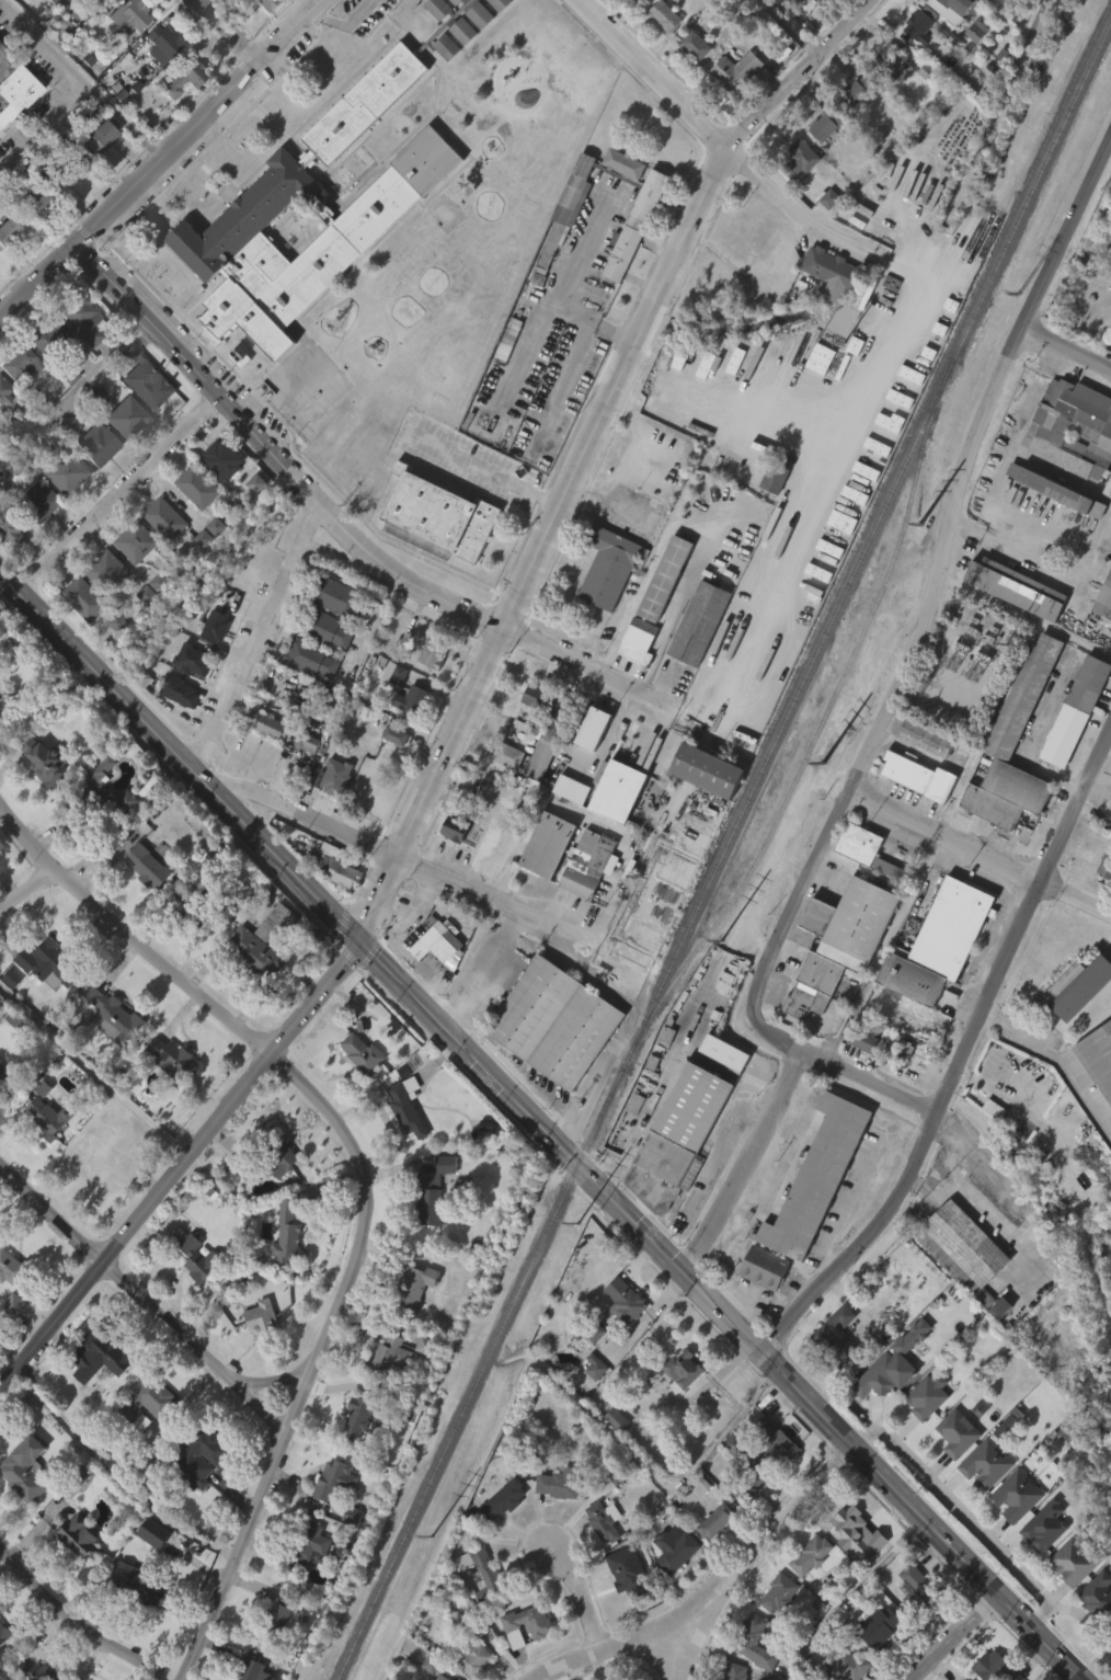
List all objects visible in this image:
building: (112, 0)
building: (642, 0)
building: (312, 1)
building: (787, 2)
building: (824, 2)
building: (78, 3)
building: (605, 3)
building: (270, 4)
building: (501, 4)
building: (962, 5)
building: (237, 7)
building: (127, 15)
building: (665, 16)
road: (347, 22)
building: (632, 22)
building: (99, 24)
building: (706, 24)
building: (813, 25)
building: (921, 27)
road: (791, 28)
road: (230, 32)
building: (262, 32)
building: (494, 36)
building: (946, 38)
building: (160, 45)
building: (696, 46)
building: (124, 54)
building: (476, 54)
building: (660, 54)
building: (893, 62)
building: (916, 67)
building: (459, 69)
building: (972, 69)
building: (736, 73)
building: (183, 76)
building: (156, 82)
building: (442, 84)
building: (690, 84)
building: (14, 85)
road: (72, 85)
building: (857, 92)
building: (891, 103)
building: (732, 110)
building: (920, 110)
building: (179, 117)
road: (119, 118)
road: (199, 123)
building: (11, 125)
building: (825, 126)
building: (848, 130)
building: (93, 137)
building: (358, 144)
road: (731, 152)
building: (800, 162)
building: (67, 164)
building: (820, 164)
building: (94, 175)
building: (322, 196)
building: (793, 197)
building: (71, 199)
building: (25, 201)
building: (619, 202)
building: (570, 203)
building: (54, 217)
building: (8, 230)
building: (30, 237)
building: (824, 238)
building: (562, 247)
building: (916, 247)
building: (631, 263)
building: (4, 266)
building: (834, 273)
road: (756, 274)
building: (1110, 277)
road: (36, 279)
road: (559, 288)
building: (224, 289)
power tower: (1020, 292)
building: (827, 311)
building: (81, 318)
building: (45, 335)
road: (1067, 346)
building: (76, 357)
building: (19, 361)
building: (41, 373)
road: (563, 375)
building: (146, 378)
building: (236, 393)
building: (815, 397)
building: (9, 403)
building: (65, 415)
building: (125, 416)
road: (1036, 419)
building: (3, 437)
building: (95, 444)
road: (637, 445)
building: (119, 454)
building: (221, 460)
building: (68, 473)
building: (776, 477)
building: (91, 482)
building: (196, 487)
building: (1063, 492)
road: (119, 495)
road: (610, 495)
building: (217, 499)
building: (38, 500)
building: (64, 512)
road: (805, 512)
building: (446, 515)
building: (769, 516)
building: (164, 519)
building: (251, 522)
road: (337, 523)
building: (11, 525)
building: (193, 525)
building: (1055, 530)
road: (690, 532)
road: (1096, 532)
building: (36, 536)
building: (1110, 536)
building: (136, 541)
building: (845, 545)
building: (435, 551)
building: (160, 557)
building: (213, 564)
building: (9, 565)
building: (608, 567)
building: (105, 570)
building: (199, 578)
building: (666, 579)
building: (131, 580)
building: (339, 597)
building: (84, 599)
building: (1104, 599)
building: (603, 605)
building: (102, 608)
road: (930, 612)
building: (660, 616)
building: (700, 624)
building: (149, 626)
building: (1011, 626)
building: (215, 627)
building: (324, 628)
building: (1103, 635)
building: (80, 637)
road: (259, 639)
building: (639, 641)
building: (434, 652)
building: (193, 659)
building: (310, 659)
building: (112, 661)
building: (694, 661)
building: (208, 664)
building: (393, 675)
building: (633, 679)
building: (2, 687)
building: (428, 690)
building: (180, 692)
building: (308, 697)
building: (413, 700)
building: (549, 701)
road: (463, 711)
building: (1077, 711)
building: (390, 712)
building: (270, 721)
building: (0, 723)
building: (176, 729)
building: (594, 729)
building: (529, 733)
building: (927, 736)
building: (406, 738)
building: (1016, 745)
building: (1070, 748)
building: (508, 756)
building: (45, 759)
building: (262, 759)
building: (540, 759)
power tower: (825, 765)
building: (588, 766)
building: (711, 768)
building: (391, 773)
building: (99, 775)
building: (917, 776)
road: (1102, 776)
building: (340, 778)
building: (302, 779)
building: (1009, 784)
building: (572, 790)
building: (618, 792)
building: (516, 797)
building: (536, 797)
building: (41, 799)
building: (1109, 801)
building: (123, 803)
building: (702, 808)
road: (1096, 809)
building: (910, 813)
building: (331, 814)
building: (614, 828)
building: (455, 830)
building: (122, 839)
building: (1108, 841)
building: (502, 844)
building: (553, 844)
railway: (723, 849)
building: (866, 849)
road: (980, 853)
road: (400, 857)
building: (591, 862)
building: (150, 866)
building: (1106, 866)
building: (449, 867)
building: (344, 872)
building: (494, 881)
road: (26, 889)
building: (599, 894)
building: (318, 900)
building: (144, 904)
building: (201, 904)
building: (1102, 905)
building: (339, 912)
building: (574, 919)
building: (276, 923)
building: (851, 924)
traffic signals: (357, 938)
building: (940, 945)
building: (439, 947)
road: (884, 948)
building: (253, 956)
building: (50, 961)
building: (847, 961)
building: (435, 983)
building: (813, 987)
building: (1074, 990)
building: (250, 991)
building: (36, 994)
building: (8, 1016)
building: (113, 1017)
building: (1052, 1022)
building: (554, 1024)
building: (808, 1024)
building: (1078, 1026)
building: (864, 1035)
building: (901, 1052)
building: (731, 1053)
building: (112, 1055)
building: (362, 1055)
road: (1058, 1056)
building: (1098, 1059)
road: (959, 1060)
building: (172, 1061)
building: (666, 1067)
road: (669, 1075)
building: (858, 1077)
building: (9, 1081)
road: (870, 1083)
building: (357, 1090)
building: (892, 1090)
building: (167, 1095)
building: (1096, 1096)
building: (406, 1107)
building: (2, 1110)
building: (38, 1125)
road: (541, 1127)
building: (678, 1135)
building: (402, 1144)
building: (45, 1154)
building: (273, 1155)
road: (742, 1158)
building: (817, 1176)
road: (365, 1181)
road: (861, 1186)
building: (436, 1190)
building: (276, 1199)
power tower: (580, 1225)
building: (428, 1227)
building: (287, 1230)
building: (961, 1246)
building: (199, 1257)
building: (765, 1267)
building: (13, 1268)
building: (283, 1271)
building: (957, 1284)
building: (414, 1285)
building: (194, 1293)
road: (147, 1302)
building: (12, 1305)
building: (628, 1305)
building: (758, 1306)
building: (261, 1316)
building: (411, 1323)
building: (591, 1330)
building: (836, 1333)
building: (9, 1342)
building: (623, 1344)
building: (995, 1346)
building: (103, 1351)
building: (256, 1353)
building: (386, 1357)
building: (683, 1368)
building: (589, 1369)
building: (832, 1373)
building: (879, 1376)
road: (278, 1378)
building: (420, 1382)
building: (99, 1392)
building: (386, 1395)
building: (927, 1397)
building: (148, 1402)
building: (678, 1405)
building: (872, 1414)
building: (618, 1418)
building: (921, 1433)
building: (959, 1433)
building: (145, 1438)
building: (776, 1439)
building: (205, 1447)
building: (354, 1453)
building: (611, 1456)
building: (138, 1459)
building: (986, 1463)
building: (24, 1470)
building: (952, 1471)
building: (769, 1476)
building: (334, 1481)
building: (560, 1483)
building: (749, 1483)
building: (196, 1495)
building: (1018, 1496)
building: (504, 1501)
building: (980, 1502)
building: (21, 1507)
road: (963, 1513)
building: (330, 1516)
building: (717, 1520)
building: (605, 1521)
building: (742, 1522)
building: (1046, 1524)
building: (852, 1529)
building: (153, 1532)
building: (1011, 1533)
building: (78, 1536)
power tower: (433, 1539)
building: (499, 1540)
building: (309, 1546)
building: (676, 1546)
building: (812, 1555)
building: (599, 1557)
building: (711, 1558)
building: (1076, 1562)
building: (1040, 1563)
building: (149, 1569)
building: (851, 1570)
building: (481, 1572)
building: (76, 1574)
building: (632, 1575)
building: (305, 1580)
building: (671, 1585)
building: (140, 1587)
building: (919, 1587)
road: (719, 1591)
building: (805, 1592)
road: (849, 1592)
road: (580, 1593)
building: (780, 1593)
building: (459, 1598)
building: (1068, 1599)
building: (1097, 1600)
building: (622, 1607)
building: (480, 1610)
building: (279, 1615)
building: (138, 1624)
building: (912, 1624)
road: (79, 1625)
building: (877, 1625)
building: (525, 1626)
building: (774, 1631)
building: (4, 1634)
road: (692, 1636)
road: (957, 1636)
building: (1091, 1636)
building: (756, 1641)
building: (473, 1659)
building: (271, 1660)
building: (523, 1661)
building: (874, 1661)
building: (748, 1666)
building: (848, 1666)
building: (996, 1668)
building: (253, 1669)
road: (1056, 1670)
building: (36, 1671)
building: (735, 1671)
building: (1, 1673)
building: (443, 1677)

